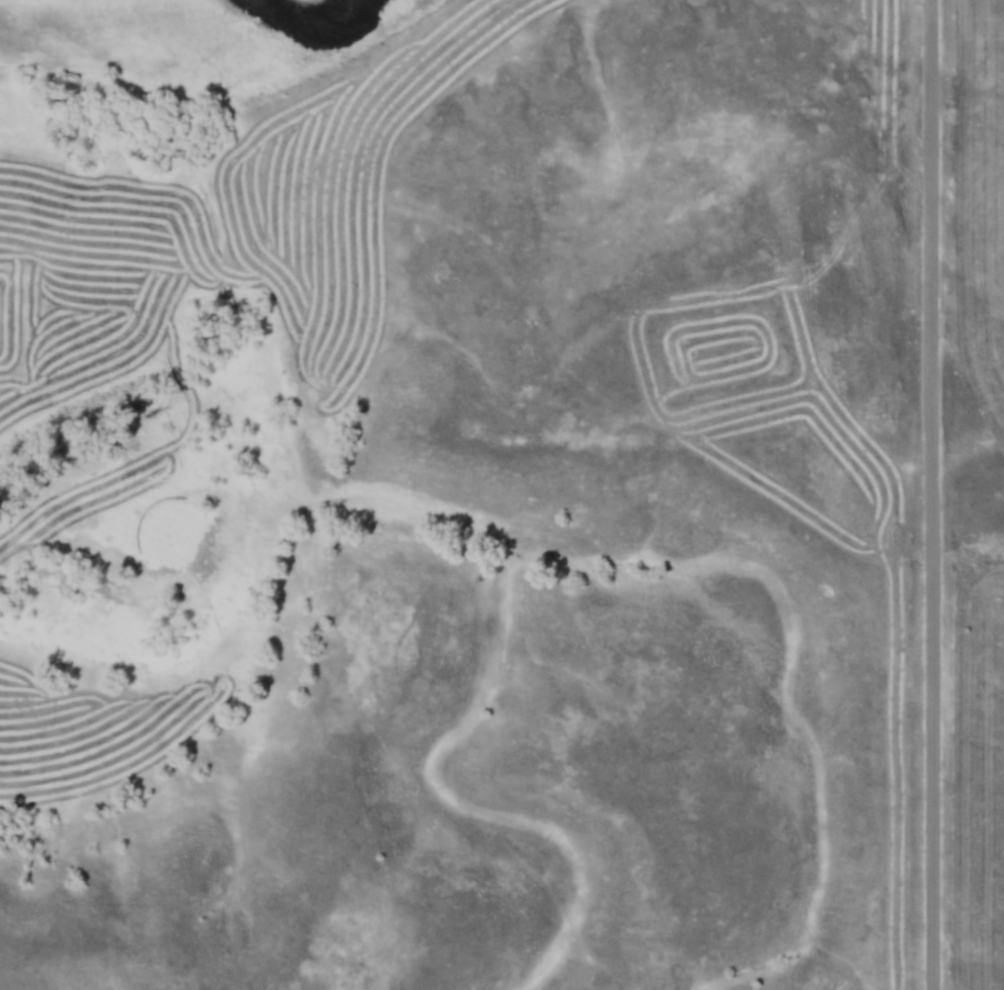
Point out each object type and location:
river: (327, 3)
road: (939, 495)

